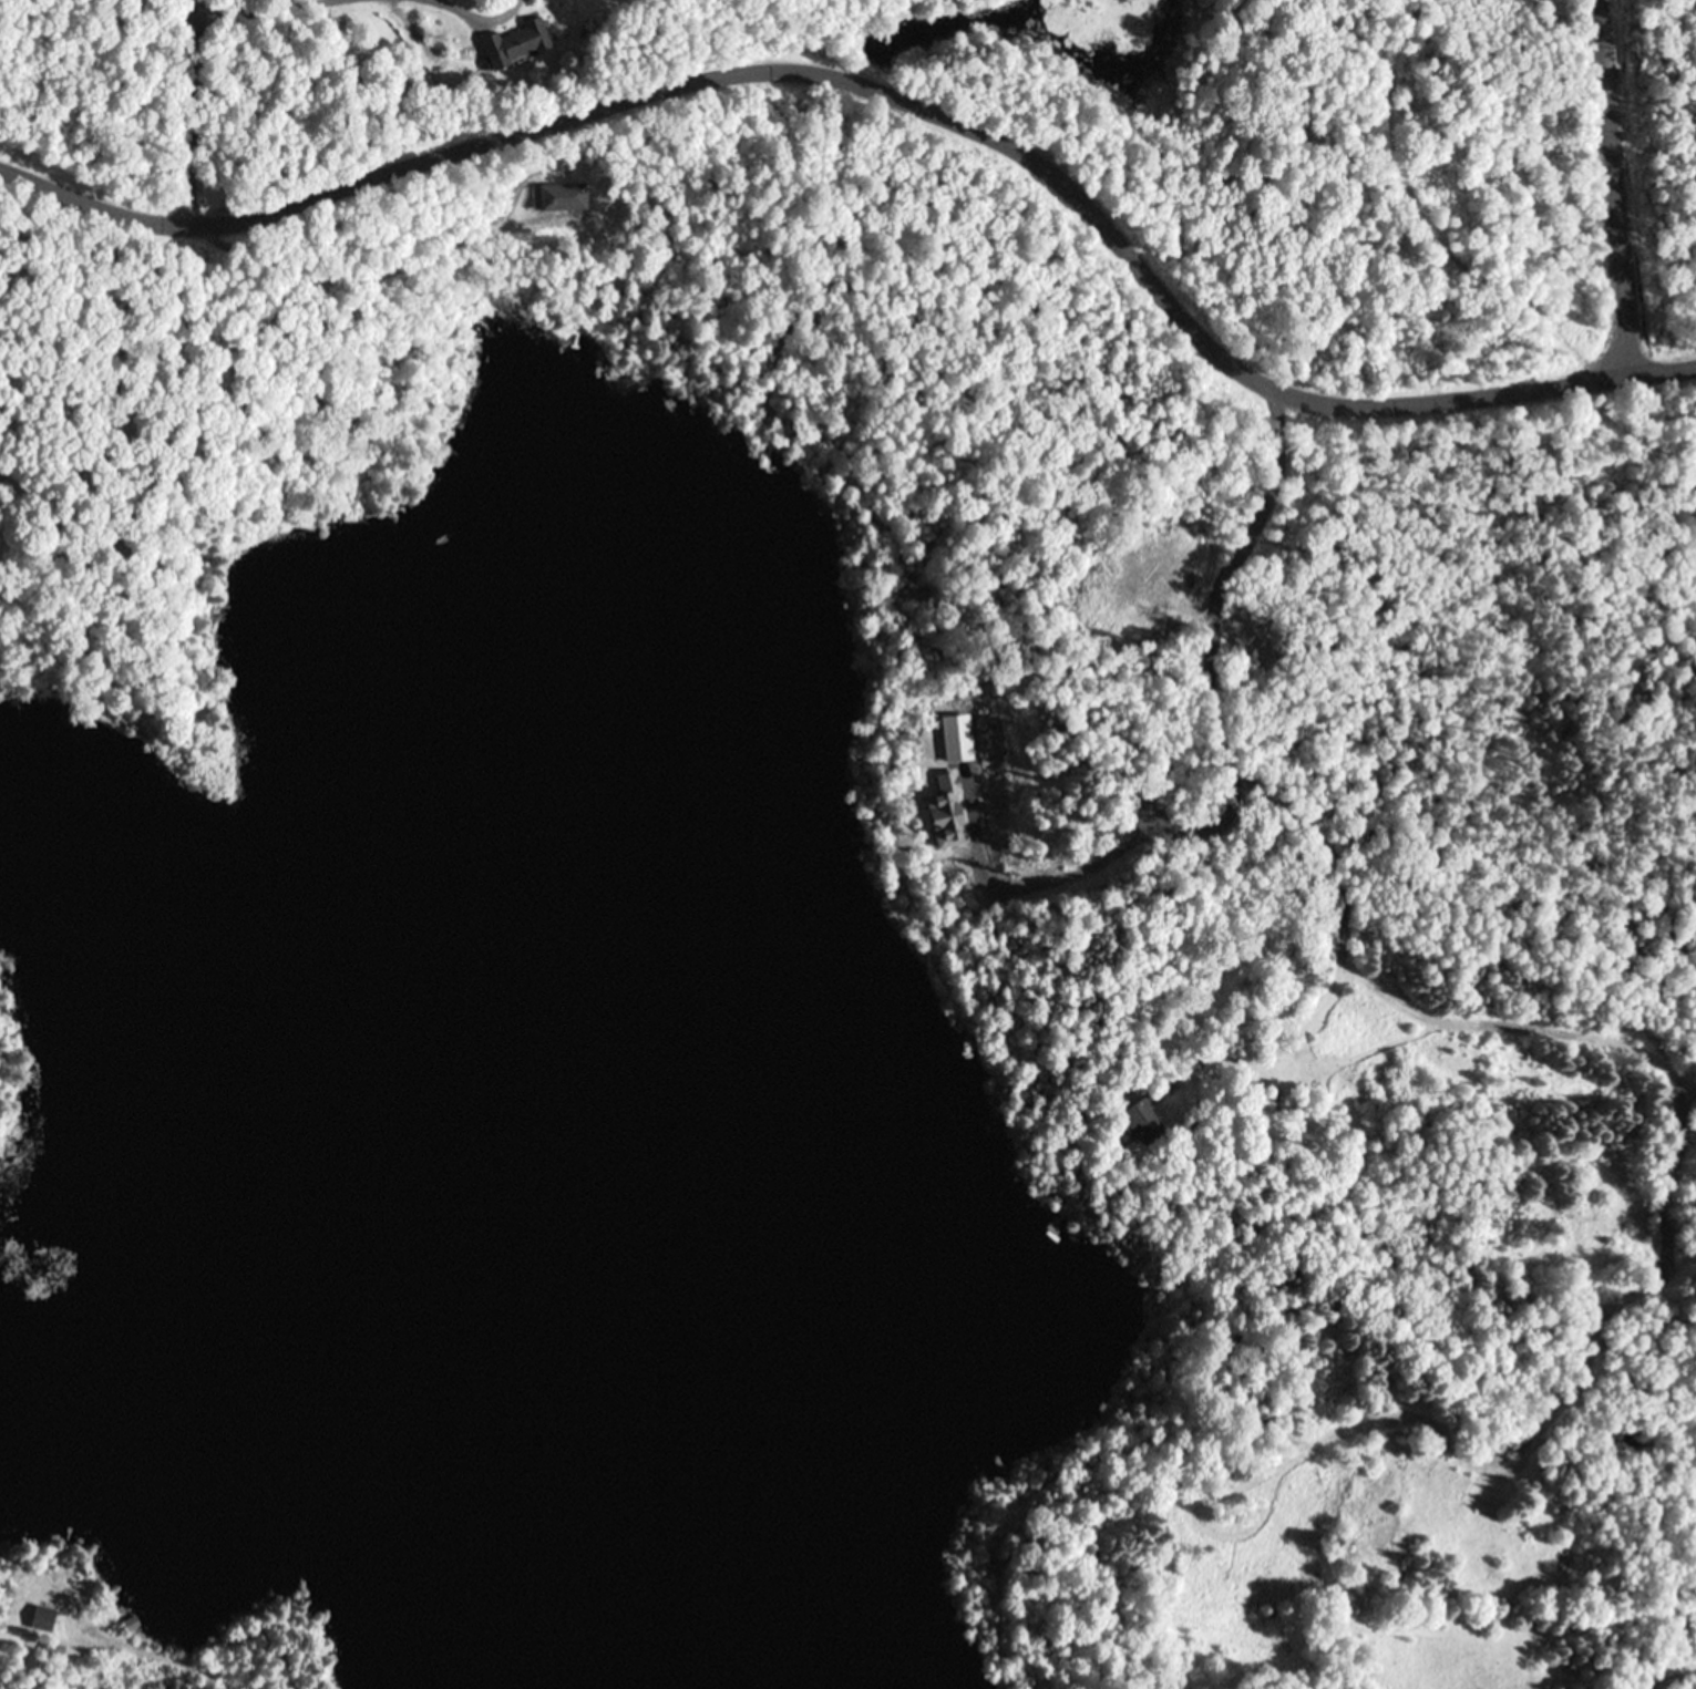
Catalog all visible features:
road: (884, 85)
park: (95, 97)
road: (186, 113)
road: (1614, 184)
road: (1252, 762)

